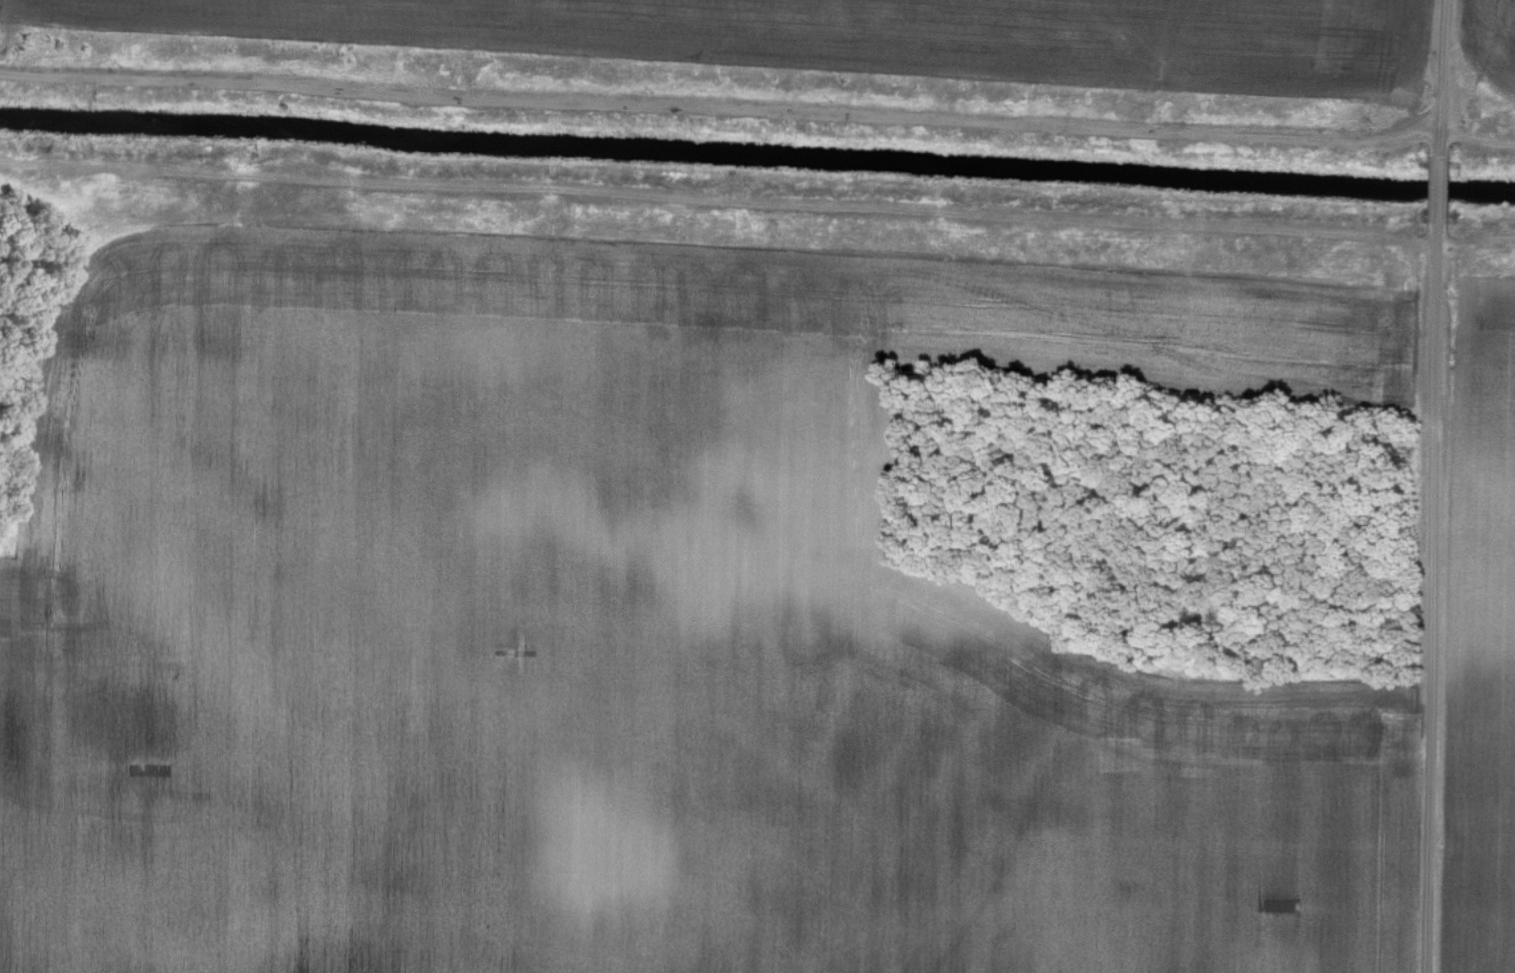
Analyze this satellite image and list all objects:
road: (1431, 486)

